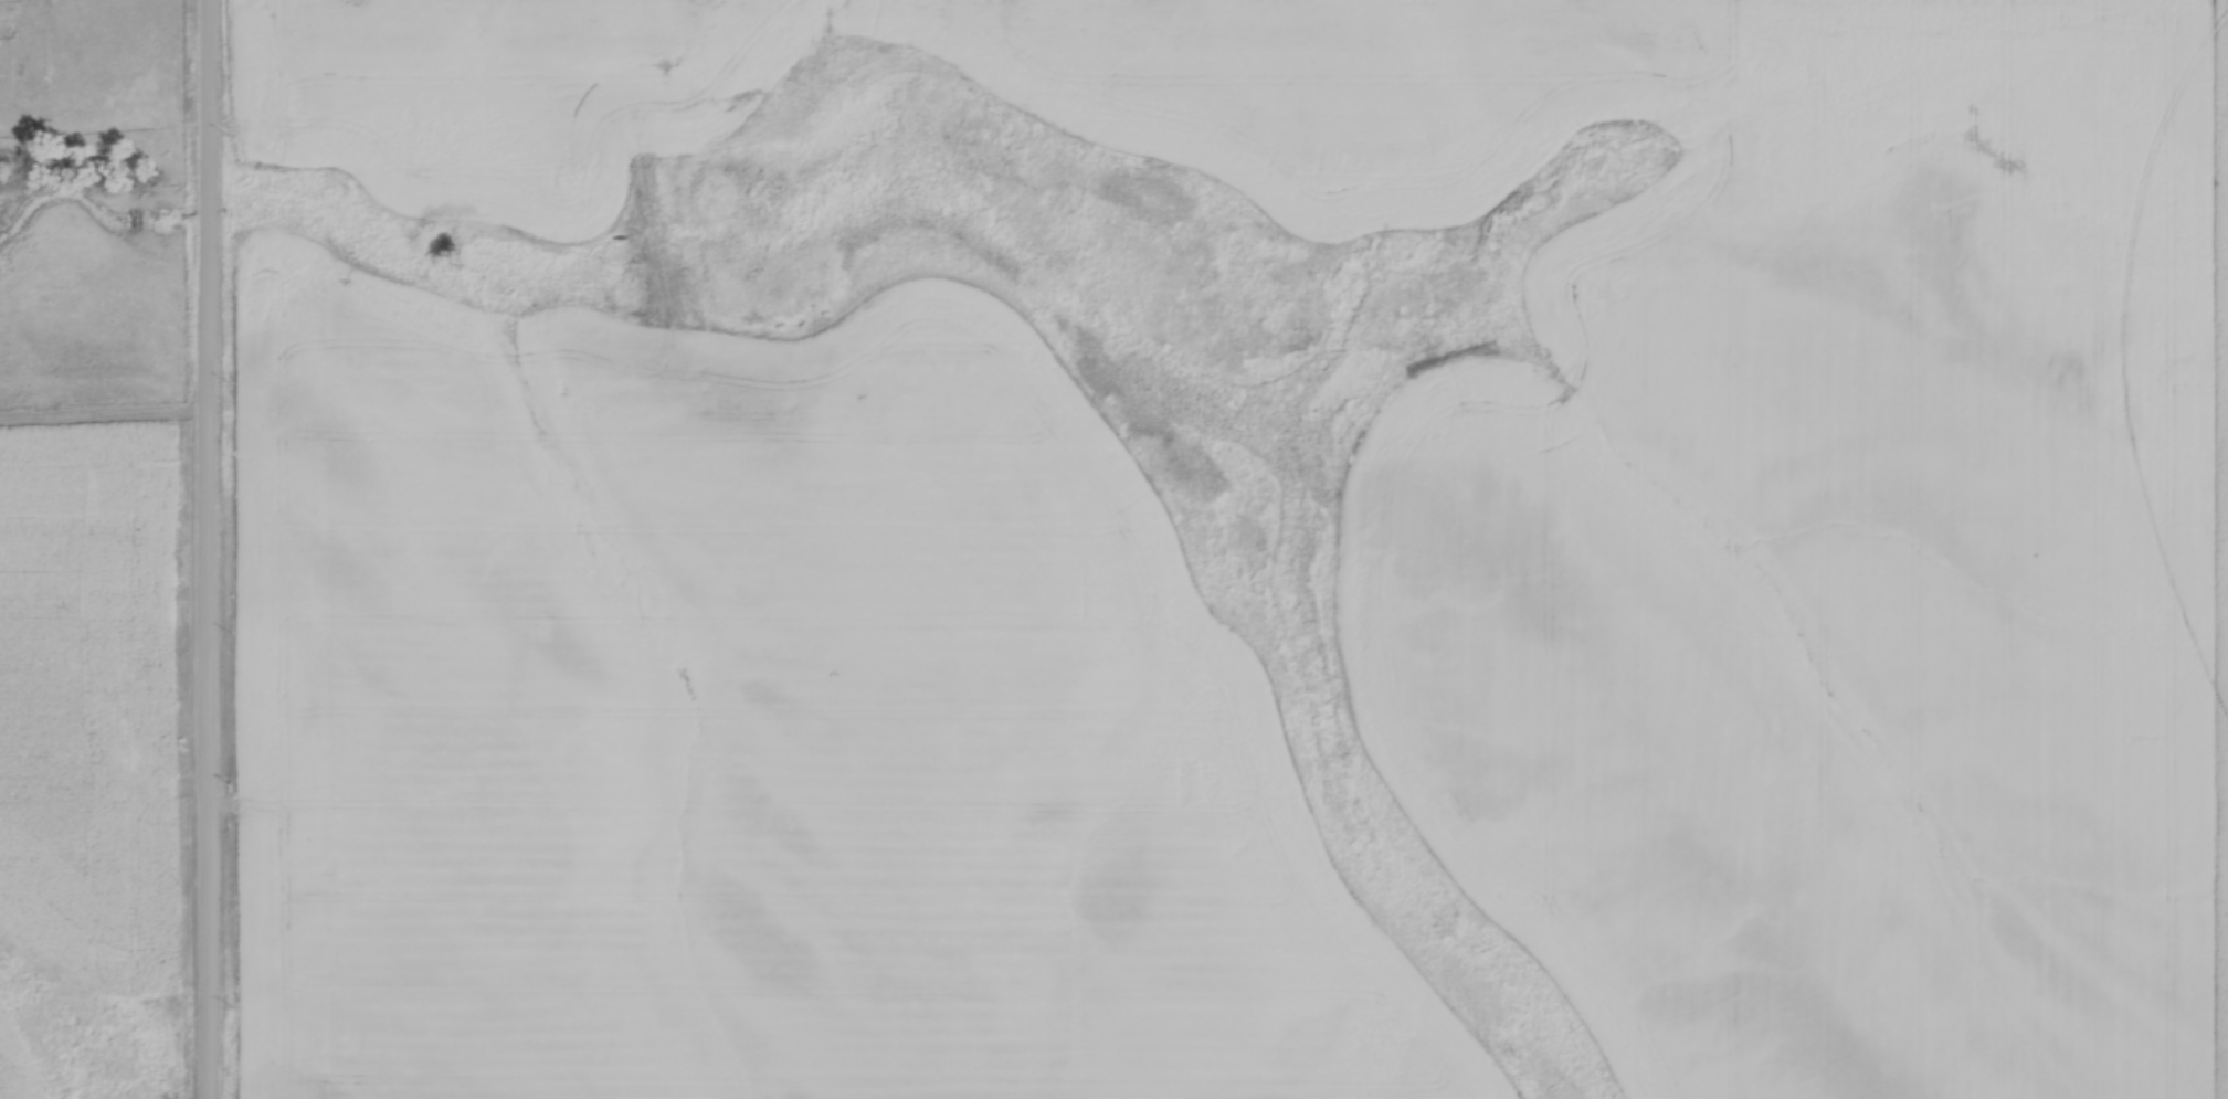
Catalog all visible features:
road: (209, 549)

